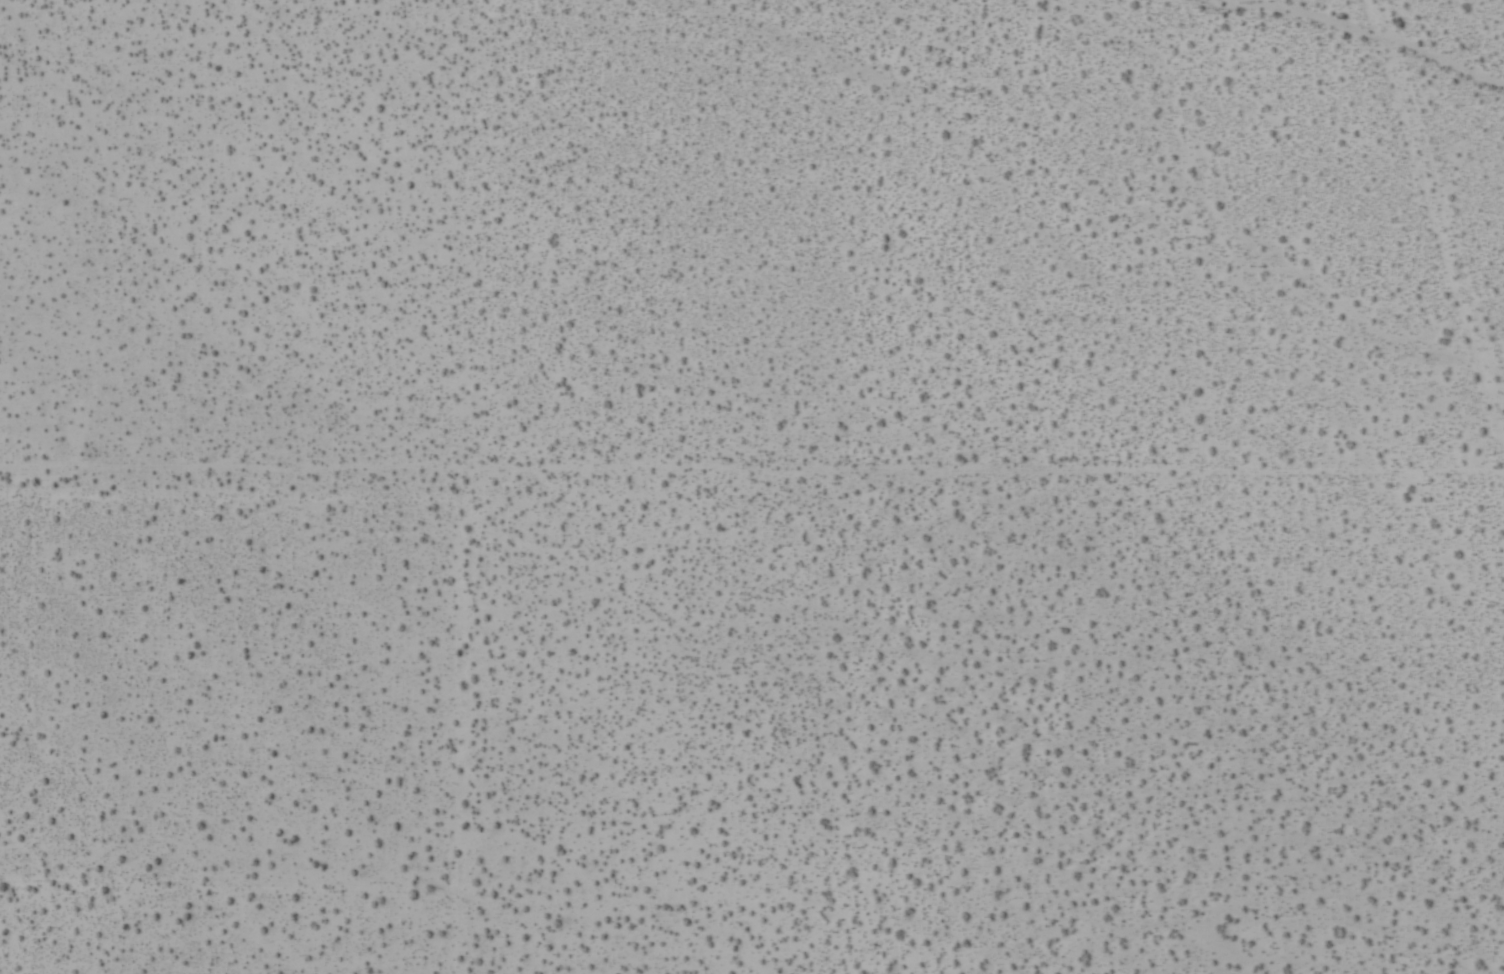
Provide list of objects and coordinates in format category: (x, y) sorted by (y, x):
road: (1421, 218)

